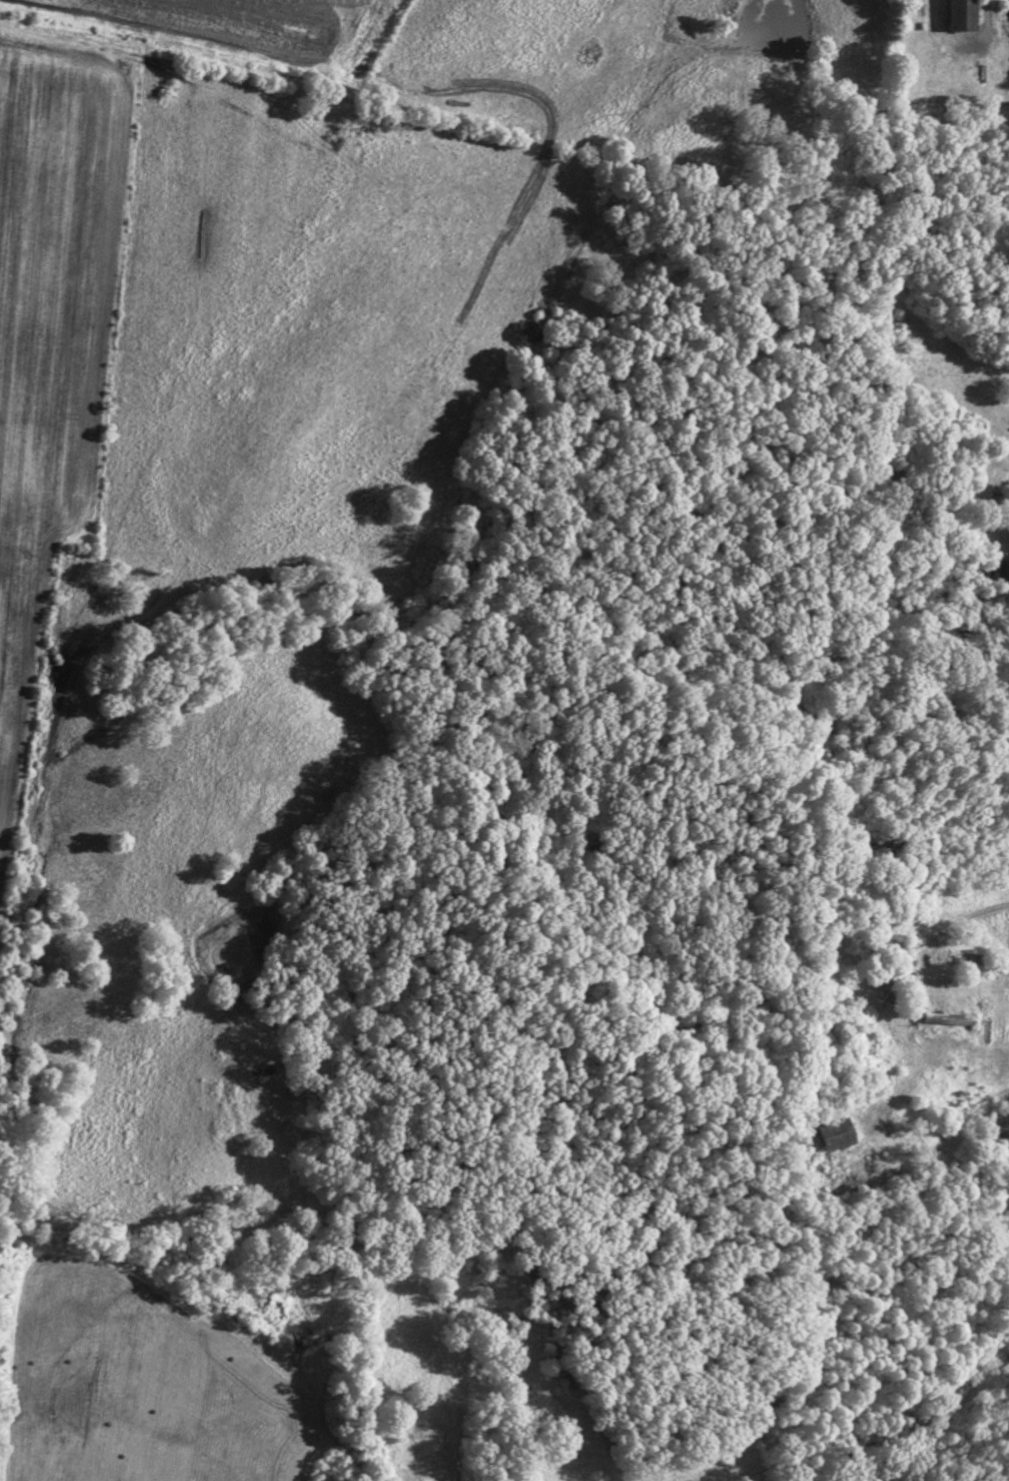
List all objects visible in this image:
building: (959, 18)
road: (932, 936)
building: (946, 1023)
building: (985, 1036)

